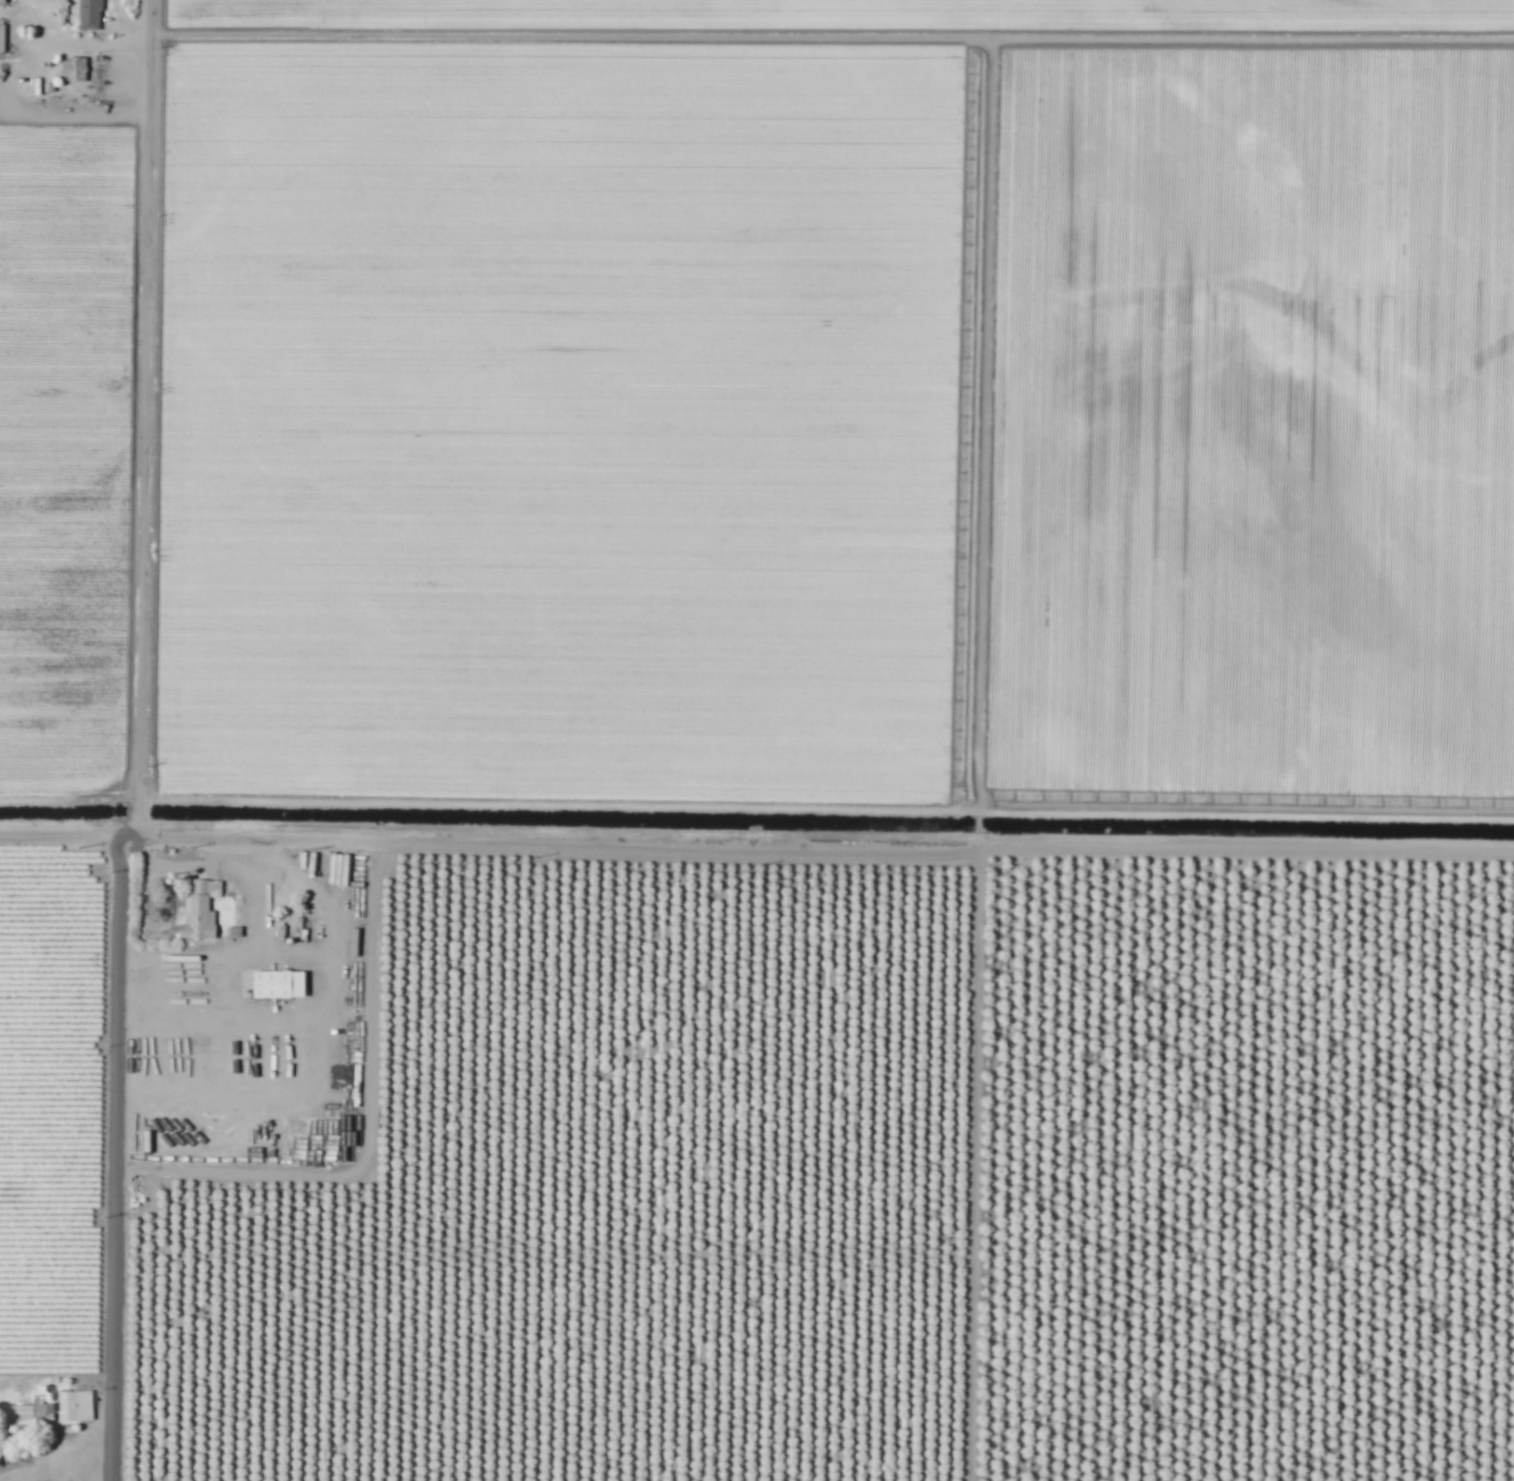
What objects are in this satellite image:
building: (2, 0)
building: (91, 14)
building: (2, 36)
building: (75, 68)
crop: (62, 384)
crop: (1236, 386)
crop: (576, 399)
road: (142, 744)
road: (59, 831)
road: (822, 833)
building: (199, 912)
building: (280, 982)
road: (314, 1006)
crop: (52, 1156)
crop: (864, 1183)
building: (77, 1404)
building: (25, 1410)

